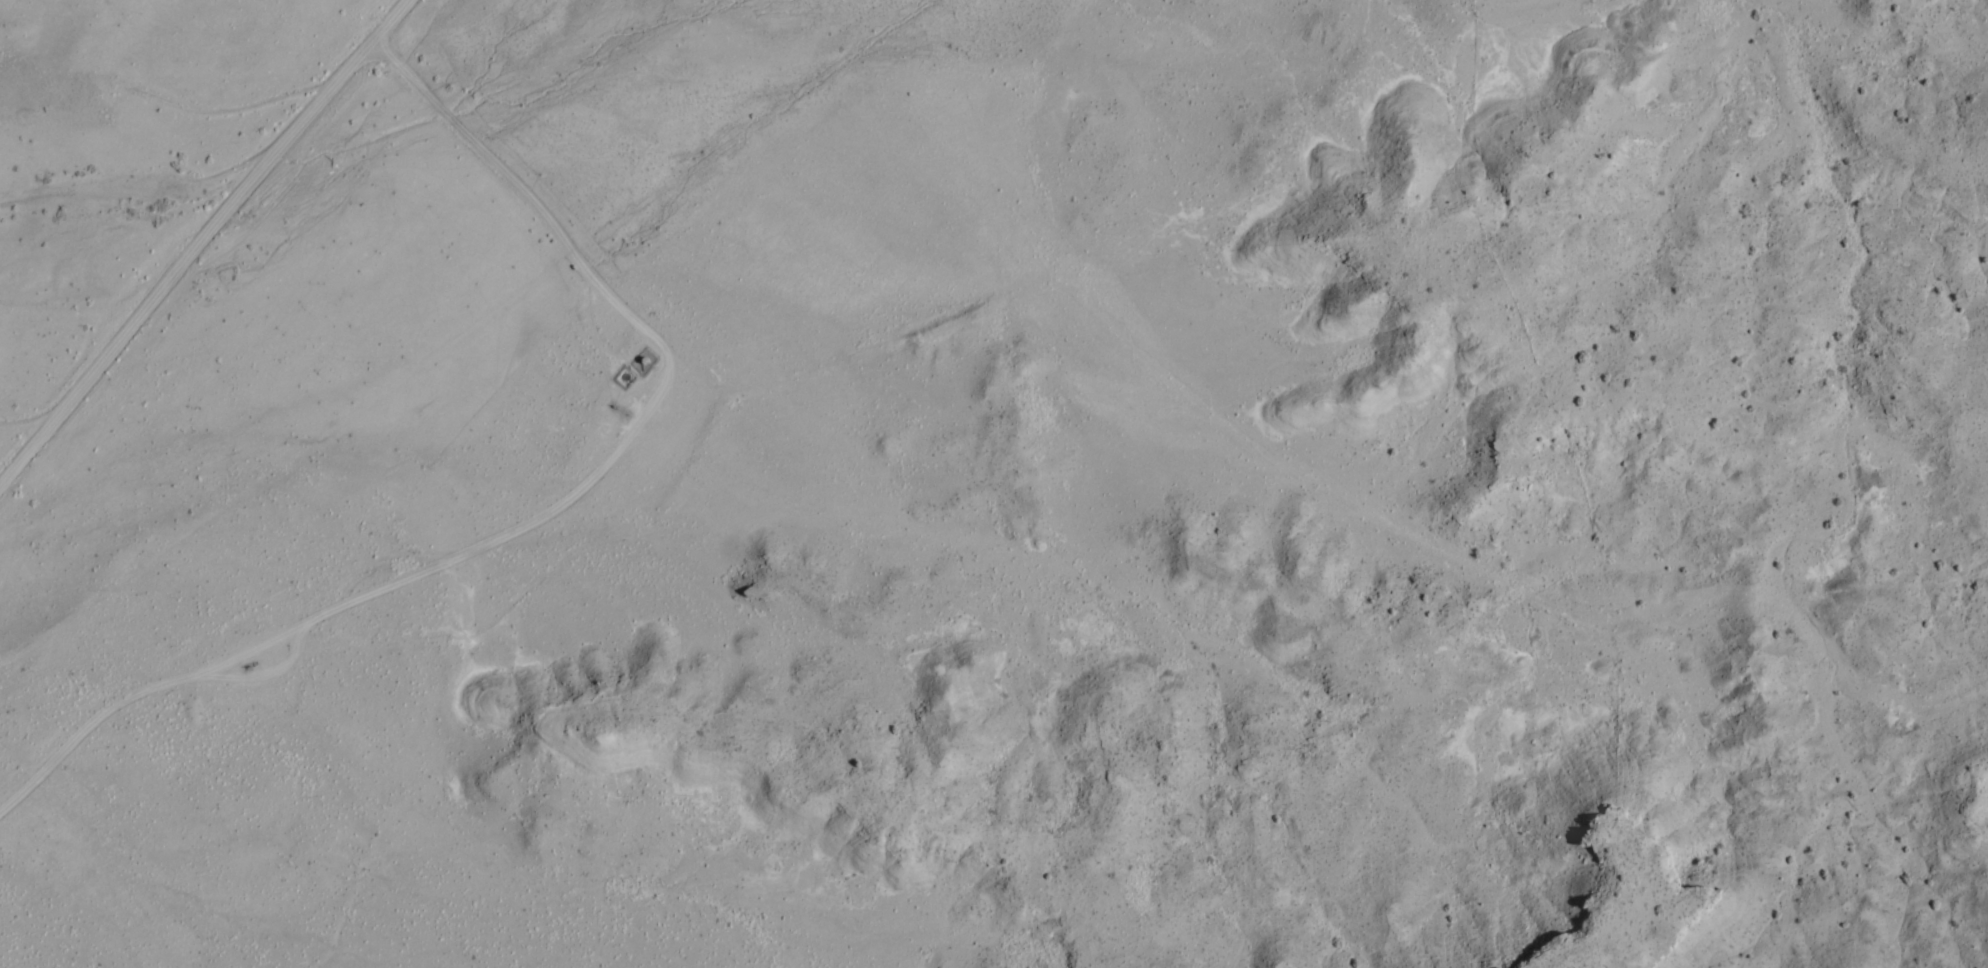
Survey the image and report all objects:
road: (199, 240)
road: (543, 507)

